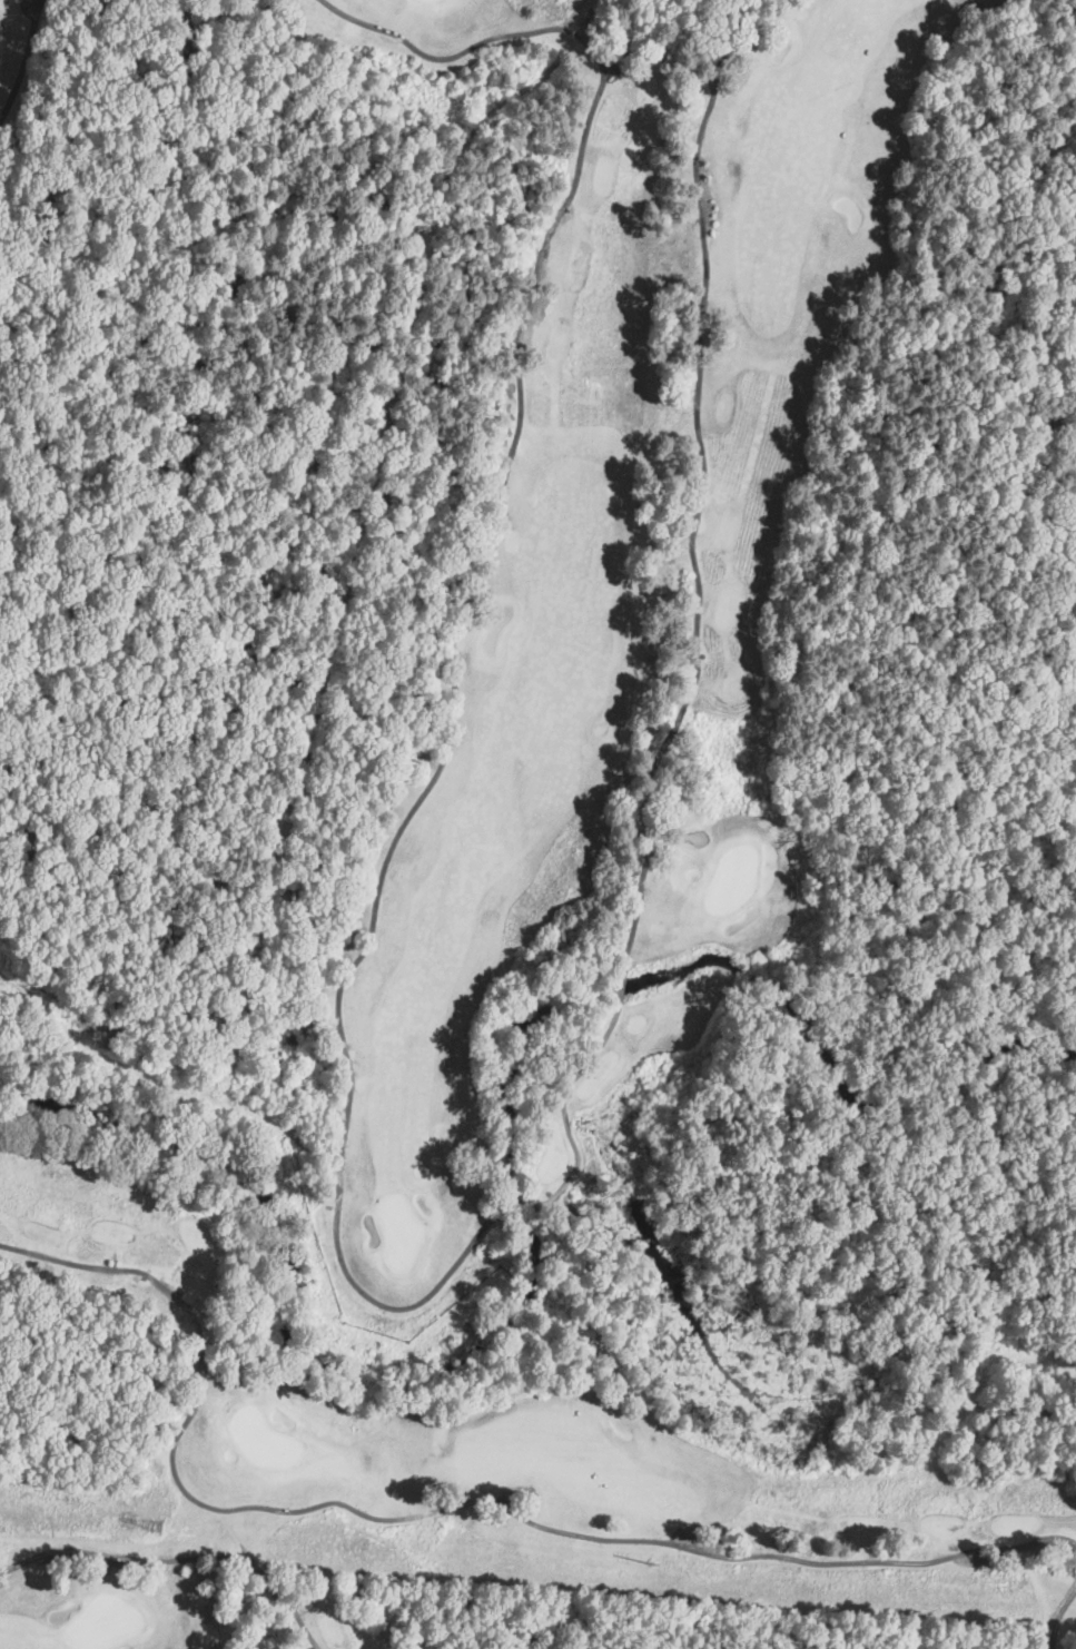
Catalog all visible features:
park: (18, 45)
park: (574, 887)
power tower: (156, 1529)
power tower: (692, 1570)
park: (175, 1601)

